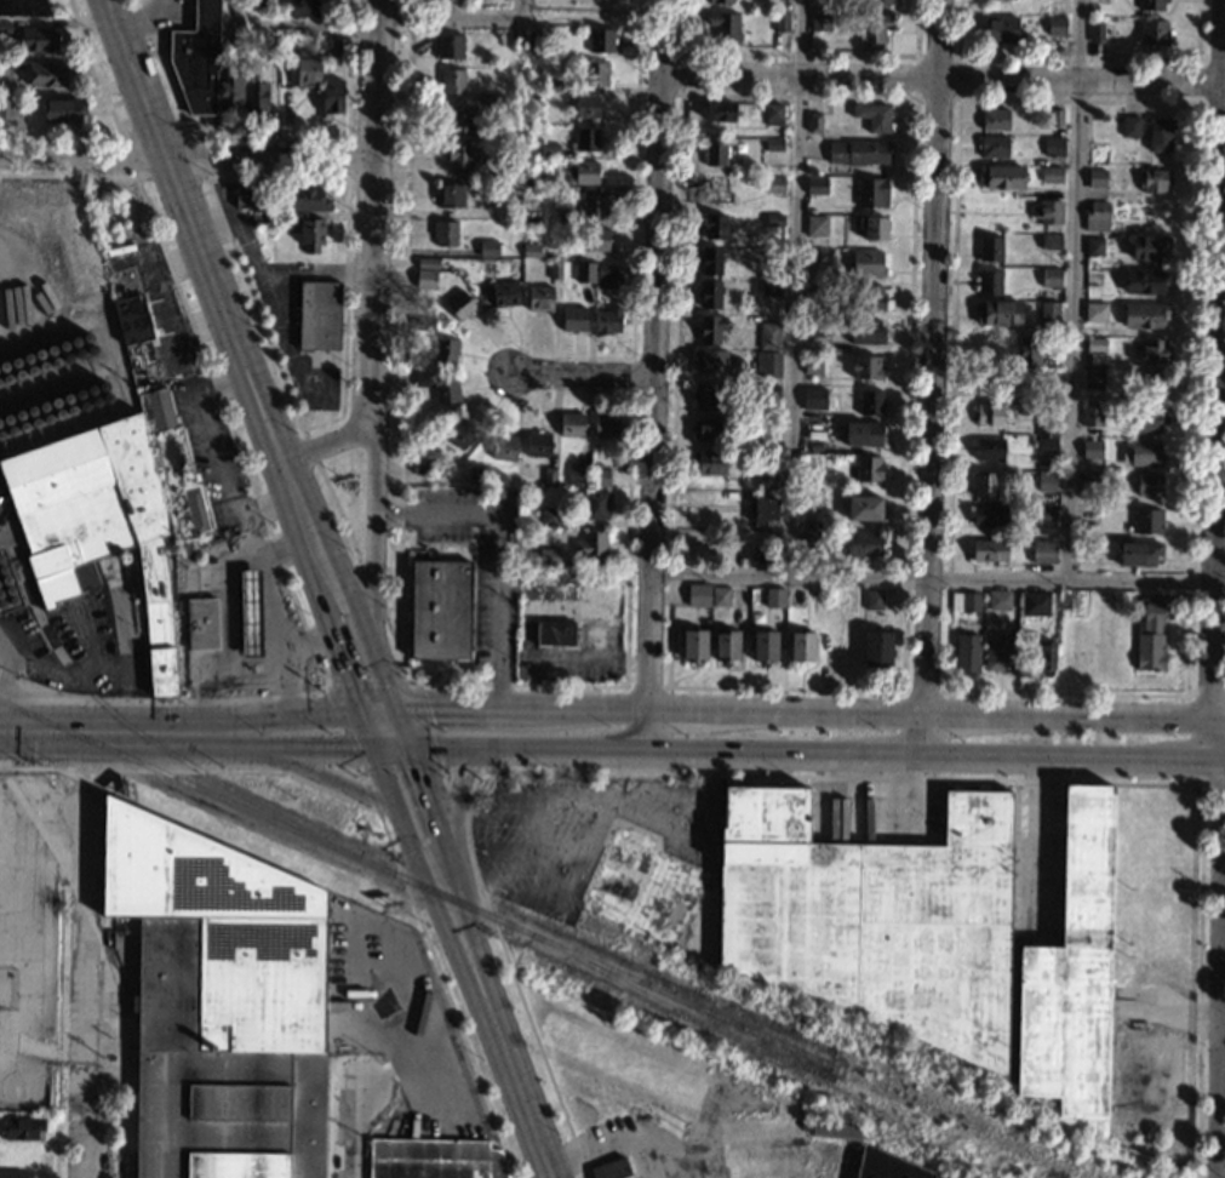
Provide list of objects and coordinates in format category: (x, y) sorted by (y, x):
building: (720, 1)
building: (880, 1)
building: (254, 4)
building: (1151, 5)
building: (23, 7)
building: (304, 8)
road: (376, 22)
building: (782, 22)
building: (819, 22)
building: (725, 25)
building: (1055, 25)
building: (5, 27)
building: (874, 28)
building: (1001, 29)
building: (1095, 30)
building: (1152, 33)
building: (38, 40)
building: (270, 40)
building: (601, 40)
building: (517, 41)
building: (532, 41)
building: (286, 46)
building: (448, 47)
building: (330, 48)
building: (199, 58)
building: (307, 70)
building: (594, 74)
building: (50, 75)
road: (944, 79)
building: (452, 80)
building: (4, 82)
building: (551, 85)
building: (230, 92)
building: (330, 97)
building: (256, 98)
building: (493, 98)
building: (539, 98)
building: (586, 105)
building: (6, 109)
building: (63, 110)
building: (719, 111)
building: (773, 114)
building: (874, 116)
building: (1054, 118)
building: (994, 119)
building: (462, 120)
road: (116, 122)
building: (814, 122)
building: (1130, 126)
building: (1160, 133)
road: (265, 135)
building: (503, 136)
road: (356, 137)
building: (585, 139)
building: (773, 144)
building: (991, 145)
building: (1052, 147)
building: (550, 150)
building: (859, 151)
building: (714, 153)
building: (458, 156)
road: (187, 161)
building: (812, 171)
building: (504, 173)
building: (580, 173)
building: (1051, 175)
road: (206, 177)
building: (1002, 177)
building: (1095, 178)
building: (1151, 181)
building: (531, 184)
building: (773, 185)
building: (815, 185)
building: (716, 189)
building: (871, 193)
building: (450, 195)
building: (250, 196)
building: (305, 200)
building: (593, 206)
building: (1097, 210)
building: (488, 211)
building: (1048, 215)
building: (531, 217)
building: (276, 218)
building: (774, 221)
building: (1095, 225)
building: (712, 227)
building: (815, 227)
building: (875, 228)
building: (443, 233)
building: (310, 236)
building: (593, 241)
building: (1051, 242)
building: (1093, 246)
building: (1146, 247)
building: (487, 248)
building: (990, 248)
building: (531, 251)
building: (773, 253)
building: (814, 257)
building: (710, 261)
building: (427, 263)
building: (868, 264)
building: (568, 268)
building: (554, 269)
building: (584, 271)
building: (605, 276)
building: (1049, 278)
building: (1092, 278)
building: (425, 280)
building: (1144, 281)
building: (989, 282)
building: (769, 288)
road: (791, 288)
building: (813, 290)
road: (1072, 290)
building: (504, 294)
building: (709, 294)
building: (869, 297)
building: (539, 298)
road: (218, 303)
building: (459, 305)
road: (368, 309)
building: (998, 311)
building: (1094, 311)
building: (1047, 315)
building: (1144, 315)
building: (319, 316)
building: (573, 320)
building: (607, 321)
building: (424, 322)
building: (817, 327)
building: (710, 328)
building: (134, 331)
building: (865, 332)
building: (769, 336)
building: (1095, 345)
building: (445, 350)
building: (1027, 350)
building: (1154, 350)
building: (1097, 359)
building: (1117, 360)
building: (710, 361)
road: (1215, 361)
building: (1048, 364)
building: (865, 368)
building: (768, 370)
road: (584, 373)
road: (653, 377)
building: (422, 378)
road: (933, 379)
building: (1092, 379)
road: (342, 381)
building: (995, 382)
building: (1049, 382)
building: (1151, 383)
building: (445, 391)
building: (766, 393)
building: (710, 395)
building: (813, 399)
building: (870, 402)
building: (989, 416)
building: (1091, 417)
building: (1144, 419)
building: (1046, 421)
building: (571, 424)
building: (605, 425)
building: (709, 429)
building: (460, 433)
building: (863, 433)
road: (322, 444)
road: (309, 445)
building: (538, 445)
building: (767, 445)
building: (1042, 446)
building: (503, 448)
building: (989, 450)
building: (1092, 450)
building: (1141, 454)
road: (213, 458)
building: (808, 462)
building: (710, 463)
building: (419, 467)
building: (1036, 468)
building: (868, 469)
building: (476, 474)
building: (579, 475)
building: (549, 478)
building: (600, 478)
building: (420, 480)
building: (767, 481)
building: (1043, 481)
building: (1089, 482)
building: (510, 484)
building: (984, 485)
building: (1149, 485)
building: (812, 502)
building: (596, 505)
building: (864, 508)
building: (110, 511)
building: (765, 511)
building: (1088, 513)
road: (339, 514)
building: (1044, 514)
building: (989, 515)
building: (549, 516)
road: (265, 520)
building: (1146, 521)
building: (808, 539)
building: (864, 543)
building: (589, 544)
road: (287, 547)
road: (503, 549)
building: (1042, 549)
building: (989, 550)
building: (1087, 550)
building: (765, 551)
building: (1138, 554)
building: (548, 557)
road: (937, 581)
road: (373, 591)
building: (698, 595)
building: (721, 596)
building: (775, 597)
building: (795, 597)
road: (273, 600)
building: (872, 600)
building: (998, 601)
building: (250, 602)
building: (964, 602)
building: (1103, 602)
building: (1035, 604)
building: (1066, 604)
building: (440, 610)
building: (202, 623)
building: (555, 634)
building: (1150, 640)
building: (694, 645)
building: (725, 645)
building: (765, 646)
building: (801, 646)
building: (876, 648)
road: (399, 650)
building: (998, 652)
building: (966, 653)
building: (1042, 656)
building: (1107, 656)
road: (348, 659)
building: (1071, 662)
road: (5, 674)
road: (286, 679)
road: (85, 680)
road: (222, 680)
traffic signals: (366, 714)
traffic signals: (395, 714)
road: (795, 717)
road: (286, 721)
road: (399, 726)
road: (372, 732)
road: (103, 733)
railway: (151, 743)
road: (292, 748)
traffic signals: (379, 751)
traffic signals: (408, 751)
road: (429, 751)
road: (0, 753)
road: (852, 757)
road: (436, 762)
road: (446, 768)
road: (465, 771)
road: (365, 776)
road: (328, 779)
road: (371, 782)
road: (450, 787)
road: (371, 797)
road: (399, 808)
road: (377, 814)
road: (454, 814)
road: (435, 869)
building: (639, 885)
railway: (422, 886)
road: (445, 890)
road: (1223, 896)
road: (79, 900)
building: (874, 917)
road: (1219, 945)
road: (58, 963)
building: (1072, 974)
building: (219, 1003)
road: (82, 1006)
parking lot: (394, 1024)
road: (1221, 1030)
road: (503, 1037)
road: (328, 1117)
road: (56, 1120)
road: (80, 1120)
building: (22, 1130)
road: (353, 1132)
building: (835, 1132)
building: (435, 1160)
building: (886, 1166)
building: (611, 1170)
road: (1218, 1173)
building: (16, 1174)

